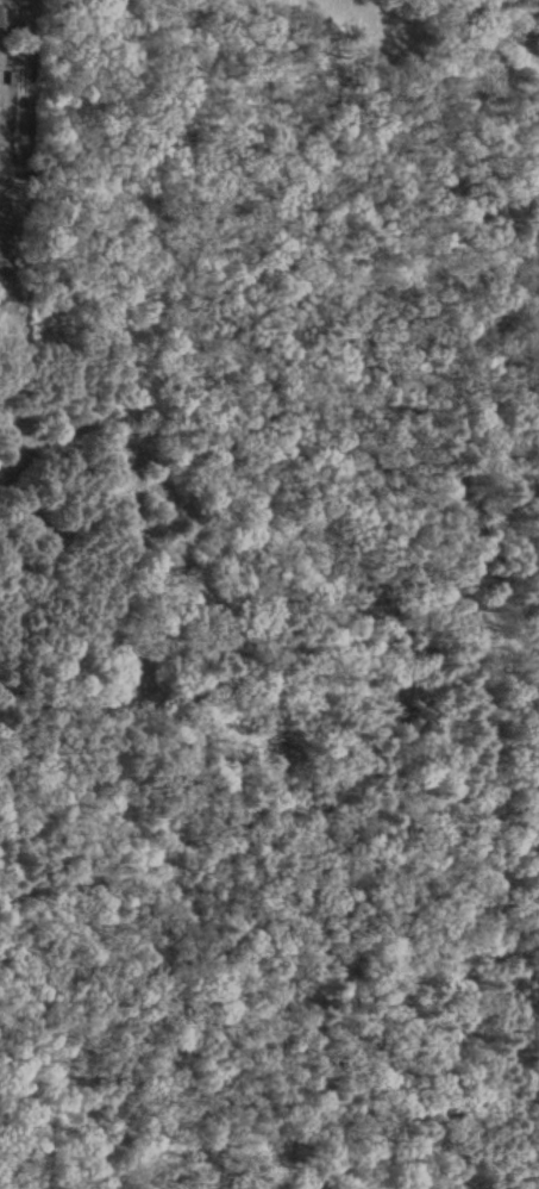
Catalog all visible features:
building: (0, 30)

